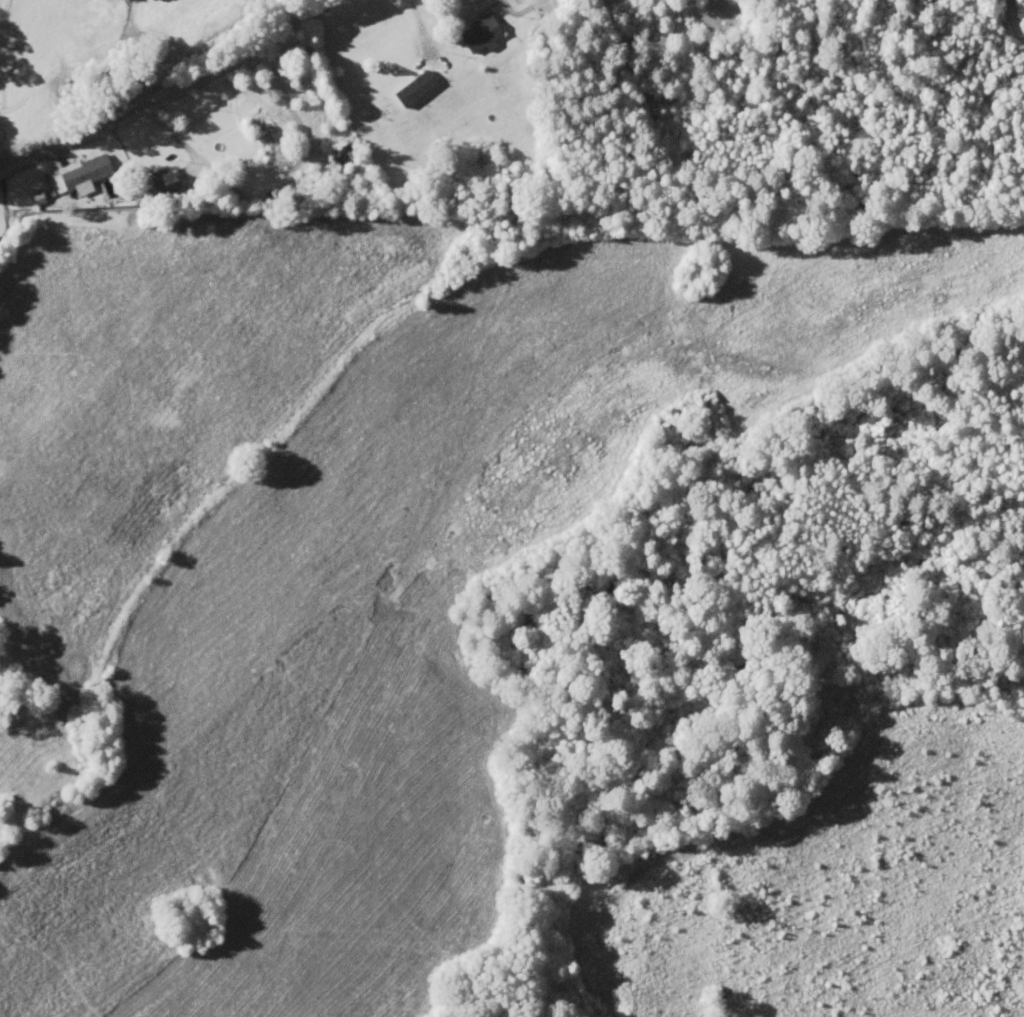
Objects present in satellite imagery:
building: (551, 7)
building: (491, 35)
building: (424, 89)
road: (163, 91)
building: (352, 155)
building: (91, 172)
building: (170, 183)

